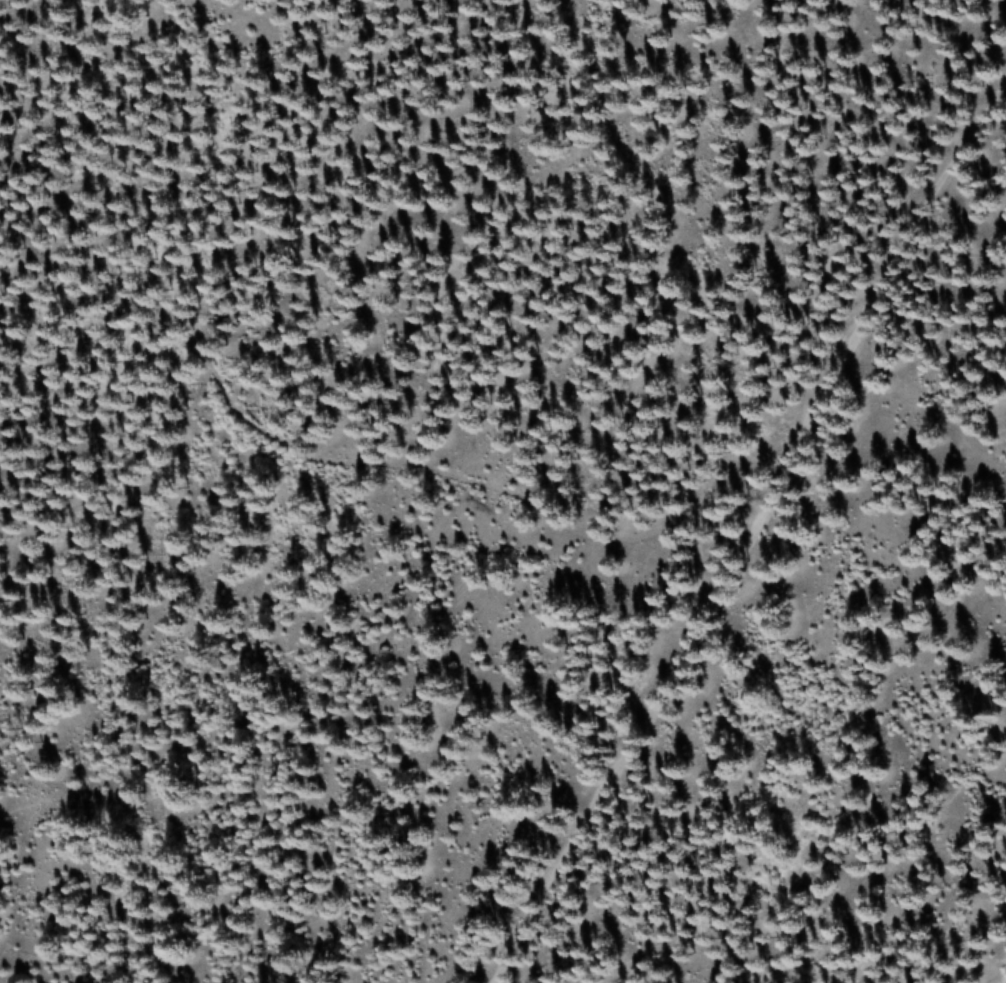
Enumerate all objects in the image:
road: (759, 585)

